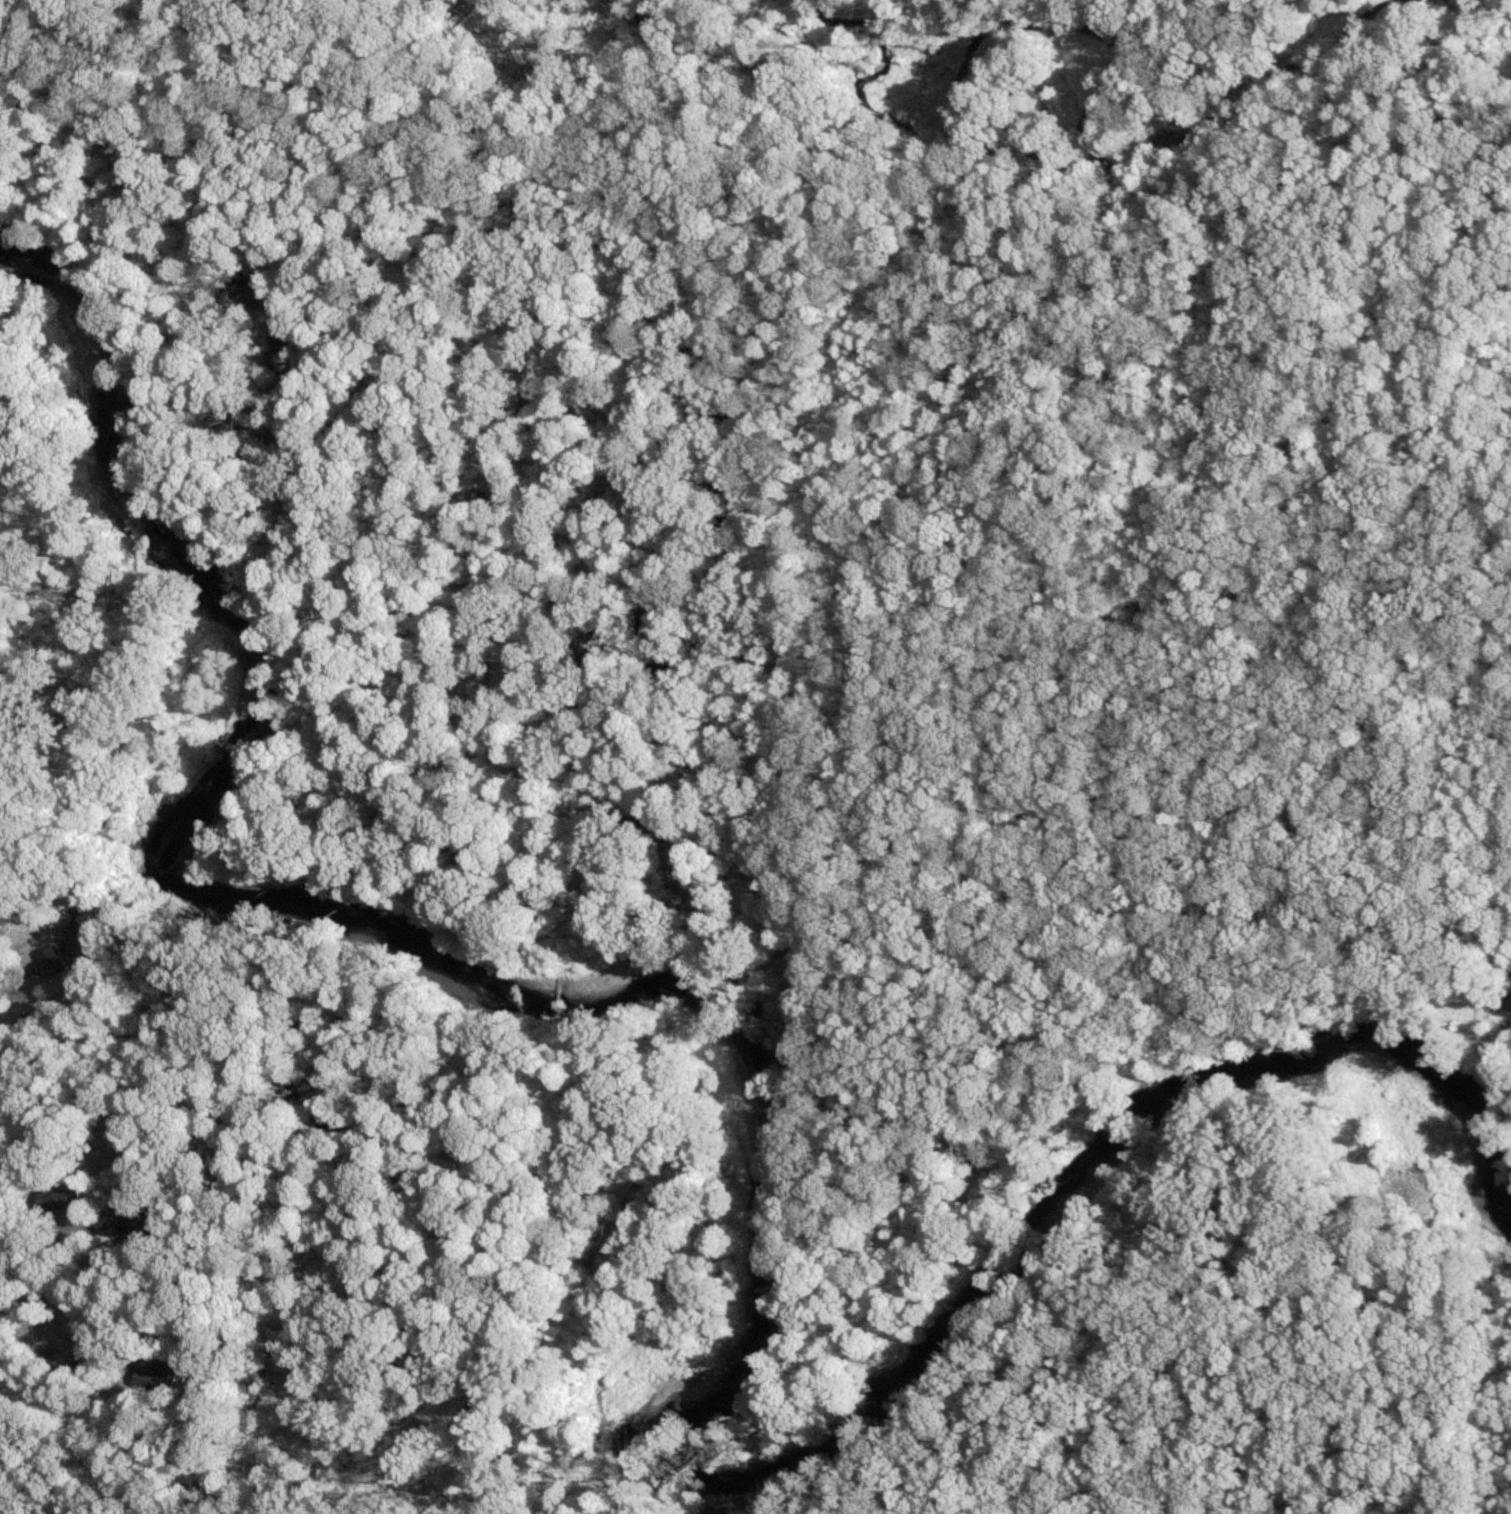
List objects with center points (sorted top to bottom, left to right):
road: (424, 64)
road: (74, 74)
road: (843, 147)
road: (327, 156)
road: (1247, 166)
road: (1139, 262)
road: (1454, 384)
road: (865, 683)
building: (66, 952)
road: (31, 1016)
river: (777, 1144)
building: (46, 1201)
building: (119, 1222)
road: (57, 1329)
building: (154, 1376)
road: (398, 1396)
road: (474, 1438)

